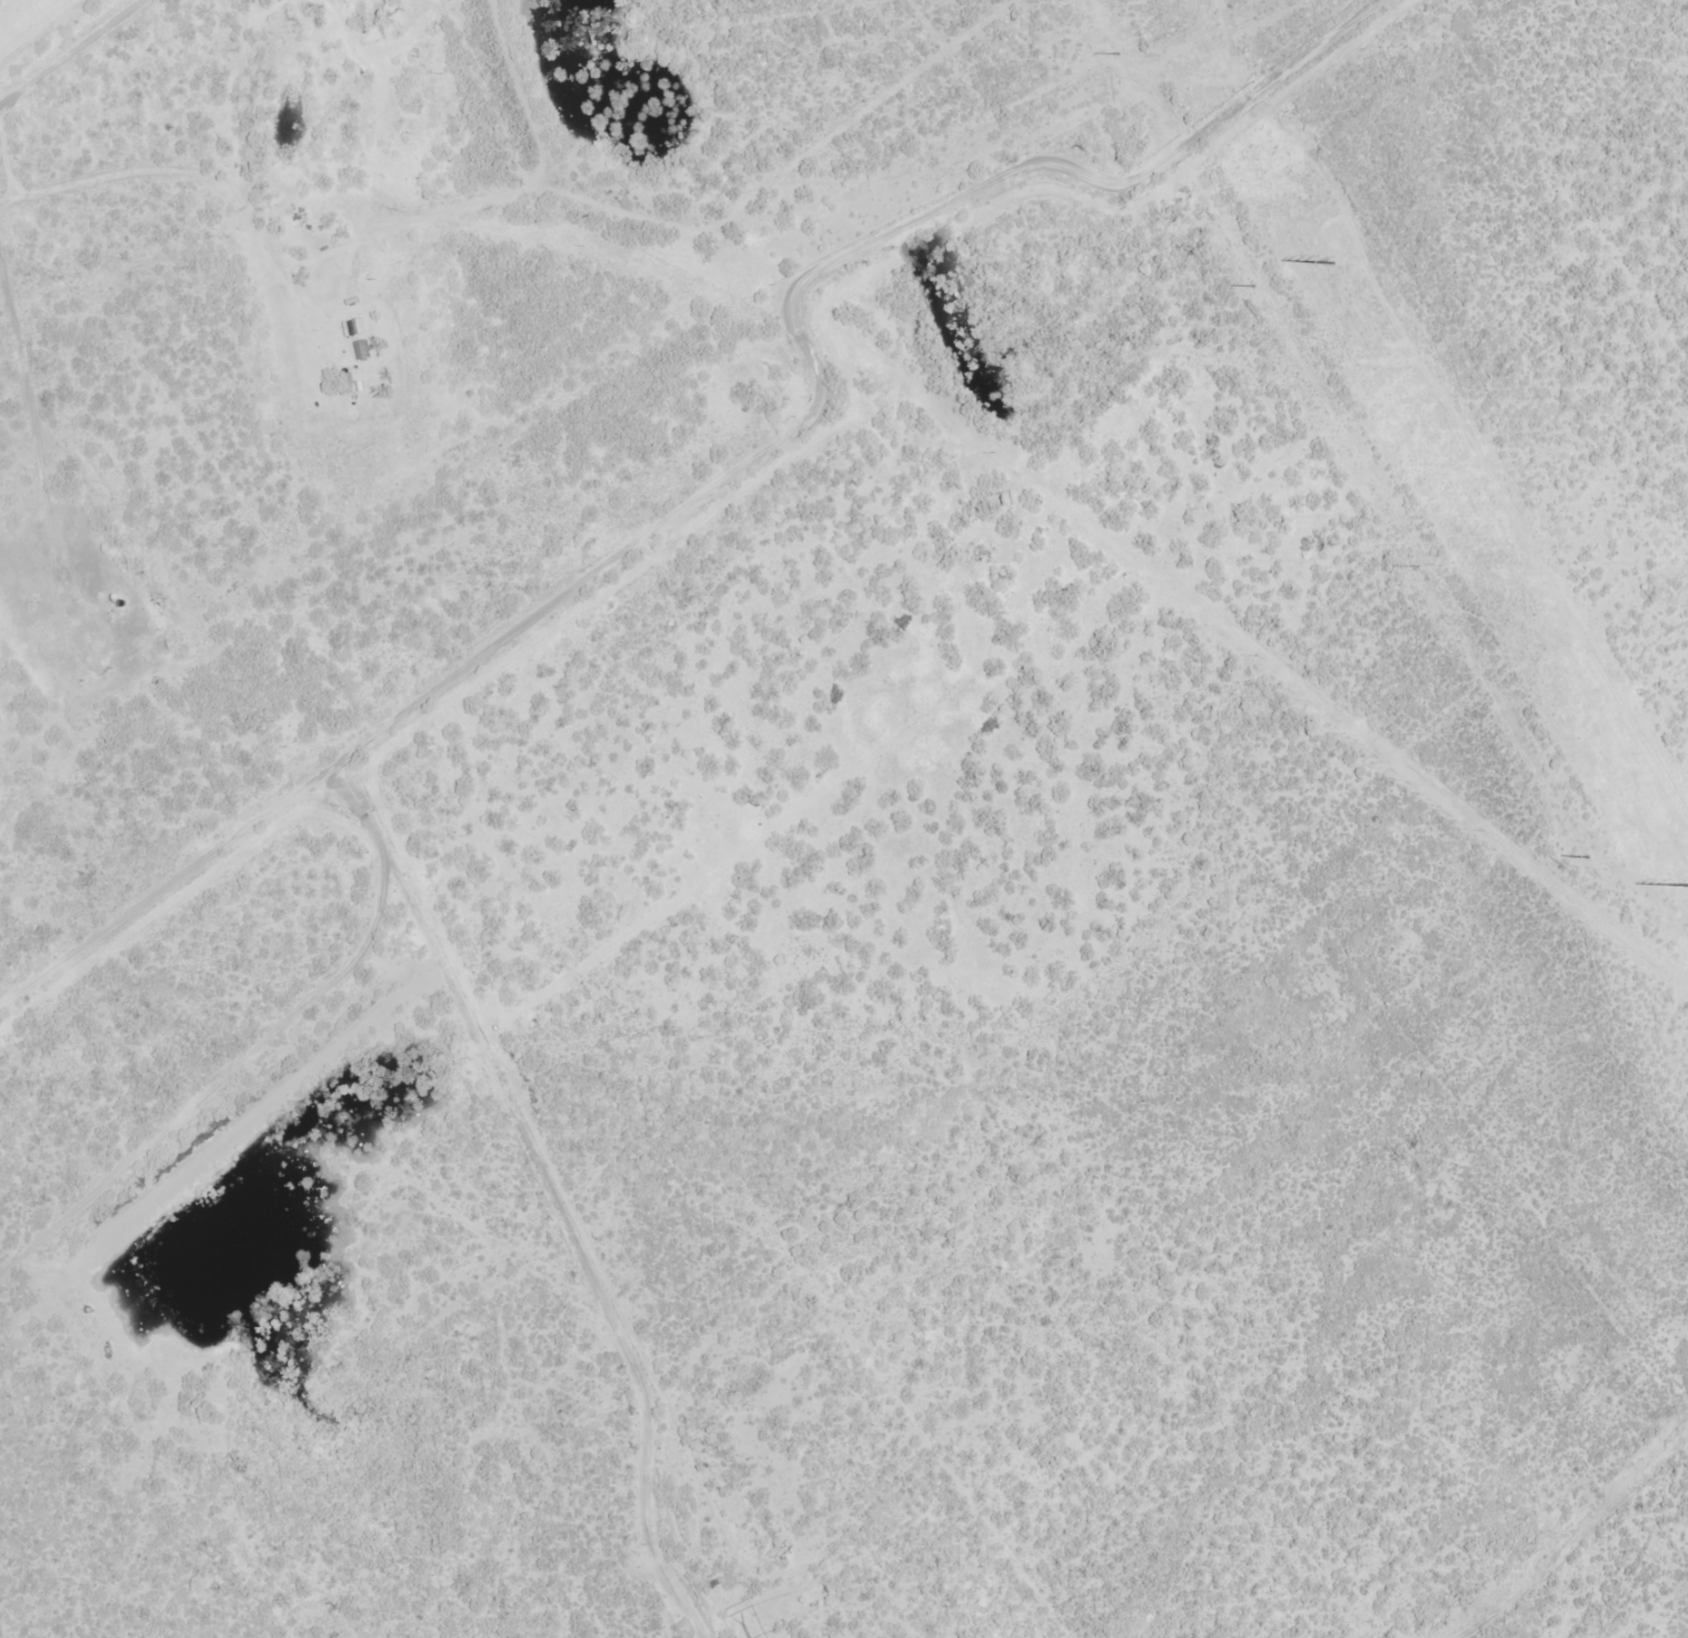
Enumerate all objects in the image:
power tower: (1116, 54)
road: (586, 217)
power tower: (1332, 269)
power tower: (1252, 285)
building: (363, 349)
building: (348, 382)
power tower: (1417, 567)
power tower: (1587, 858)
road: (924, 1205)
road: (1569, 1548)

